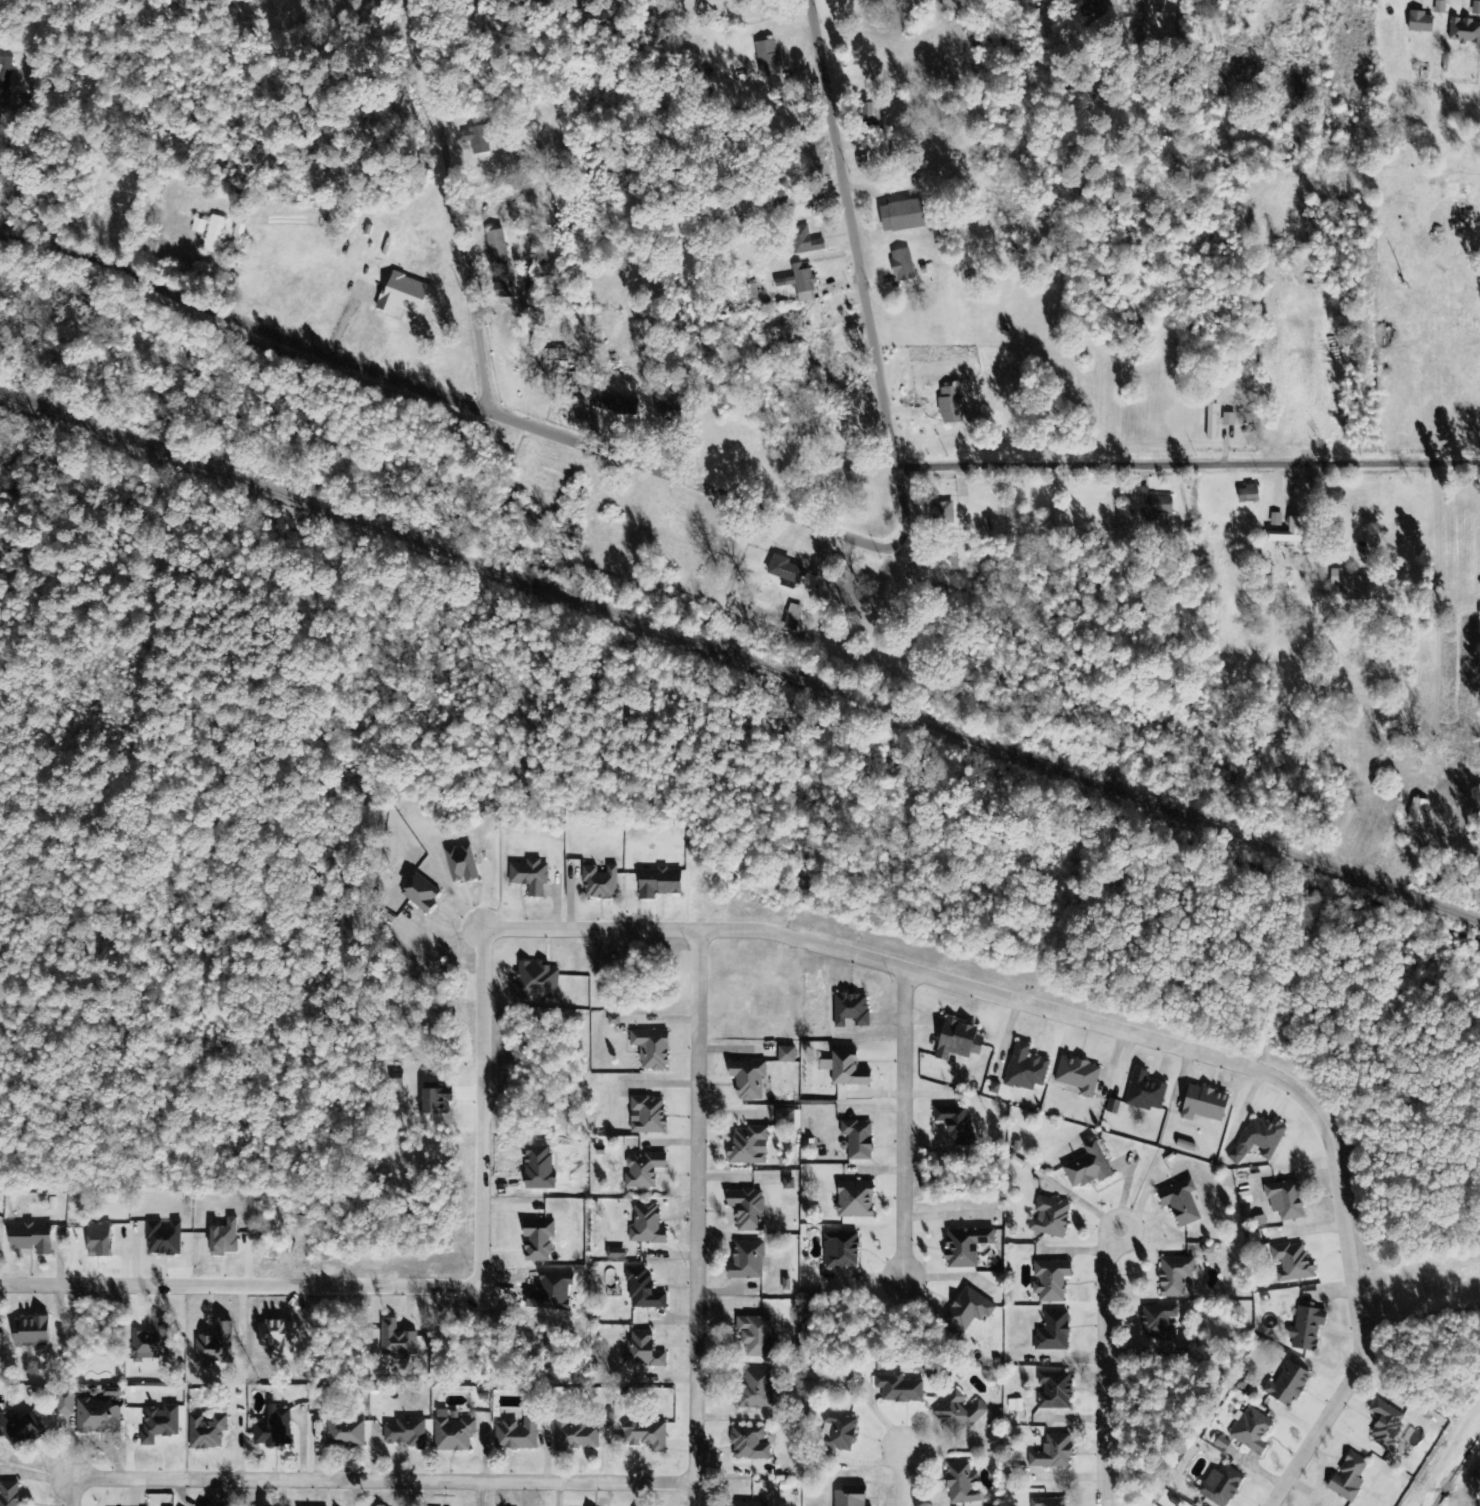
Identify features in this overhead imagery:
building: (1438, 9)
building: (1475, 10)
building: (1418, 24)
building: (1464, 33)
building: (766, 59)
building: (4, 74)
road: (65, 117)
building: (870, 118)
building: (476, 140)
road: (465, 203)
building: (899, 217)
building: (197, 227)
building: (214, 237)
building: (802, 242)
building: (494, 247)
building: (900, 267)
road: (875, 277)
building: (798, 285)
building: (505, 287)
building: (400, 296)
road: (451, 388)
building: (612, 405)
building: (948, 406)
building: (665, 413)
building: (1209, 423)
road: (1196, 455)
building: (1245, 495)
building: (1151, 507)
building: (942, 513)
building: (1274, 521)
building: (1286, 534)
building: (942, 562)
building: (782, 573)
building: (1352, 588)
building: (792, 614)
road: (1468, 630)
railway: (739, 658)
building: (1415, 812)
building: (460, 865)
building: (528, 878)
building: (598, 884)
building: (656, 884)
building: (417, 895)
building: (532, 983)
building: (849, 1011)
road: (1117, 1029)
building: (956, 1042)
building: (649, 1050)
building: (785, 1056)
building: (1024, 1070)
building: (843, 1071)
building: (1076, 1077)
building: (746, 1081)
building: (1143, 1094)
building: (430, 1101)
building: (1200, 1106)
building: (645, 1117)
building: (786, 1120)
building: (953, 1124)
road: (904, 1126)
building: (855, 1141)
building: (1256, 1141)
building: (747, 1148)
building: (1085, 1169)
building: (641, 1172)
building: (786, 1185)
building: (852, 1201)
building: (1283, 1201)
building: (1178, 1204)
building: (745, 1210)
road: (698, 1217)
road: (1130, 1218)
building: (1048, 1219)
building: (644, 1227)
building: (27, 1239)
building: (162, 1240)
building: (222, 1240)
building: (95, 1241)
building: (535, 1242)
building: (963, 1248)
building: (839, 1252)
building: (614, 1255)
building: (745, 1262)
building: (1290, 1264)
building: (1173, 1277)
building: (1049, 1282)
road: (418, 1284)
building: (784, 1285)
building: (641, 1292)
building: (966, 1311)
road: (1420, 1319)
building: (1156, 1323)
building: (1304, 1330)
building: (1051, 1333)
building: (28, 1334)
building: (753, 1337)
building: (395, 1342)
building: (150, 1344)
building: (640, 1352)
road: (1106, 1375)
building: (1285, 1386)
building: (897, 1390)
building: (754, 1391)
building: (1053, 1391)
building: (63, 1406)
building: (1014, 1407)
building: (97, 1414)
building: (956, 1414)
building: (158, 1425)
building: (1384, 1425)
building: (271, 1429)
building: (204, 1432)
building: (19, 1433)
building: (451, 1433)
building: (344, 1434)
building: (405, 1434)
building: (837, 1434)
building: (646, 1436)
building: (574, 1437)
building: (1220, 1444)
building: (747, 1445)
building: (1051, 1454)
road: (904, 1478)
road: (385, 1480)
building: (1346, 1480)
building: (959, 1486)
building: (1218, 1487)
road: (73, 1491)
building: (9, 1494)
building: (846, 1499)
building: (1046, 1502)
building: (746, 1504)

